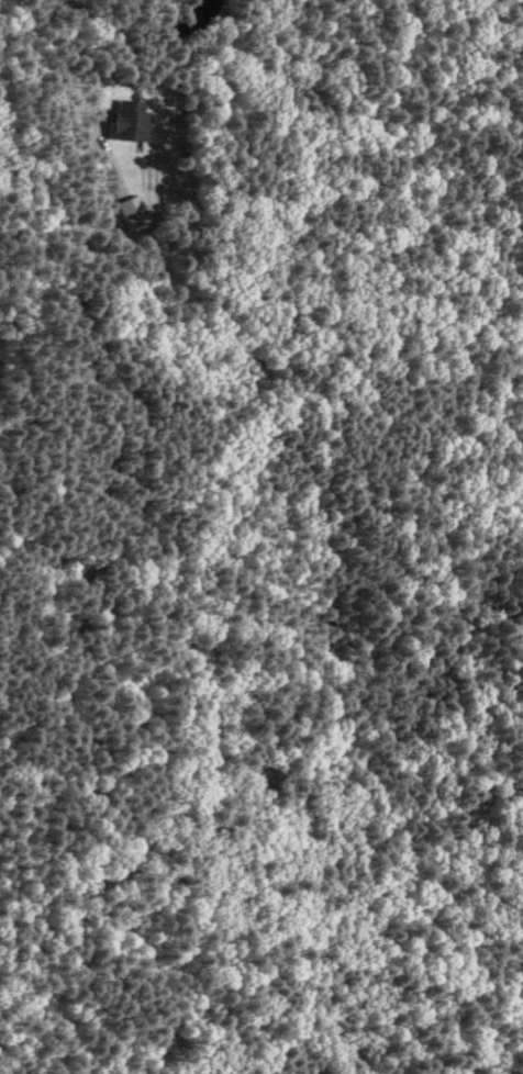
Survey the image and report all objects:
building: (132, 119)
building: (135, 210)

